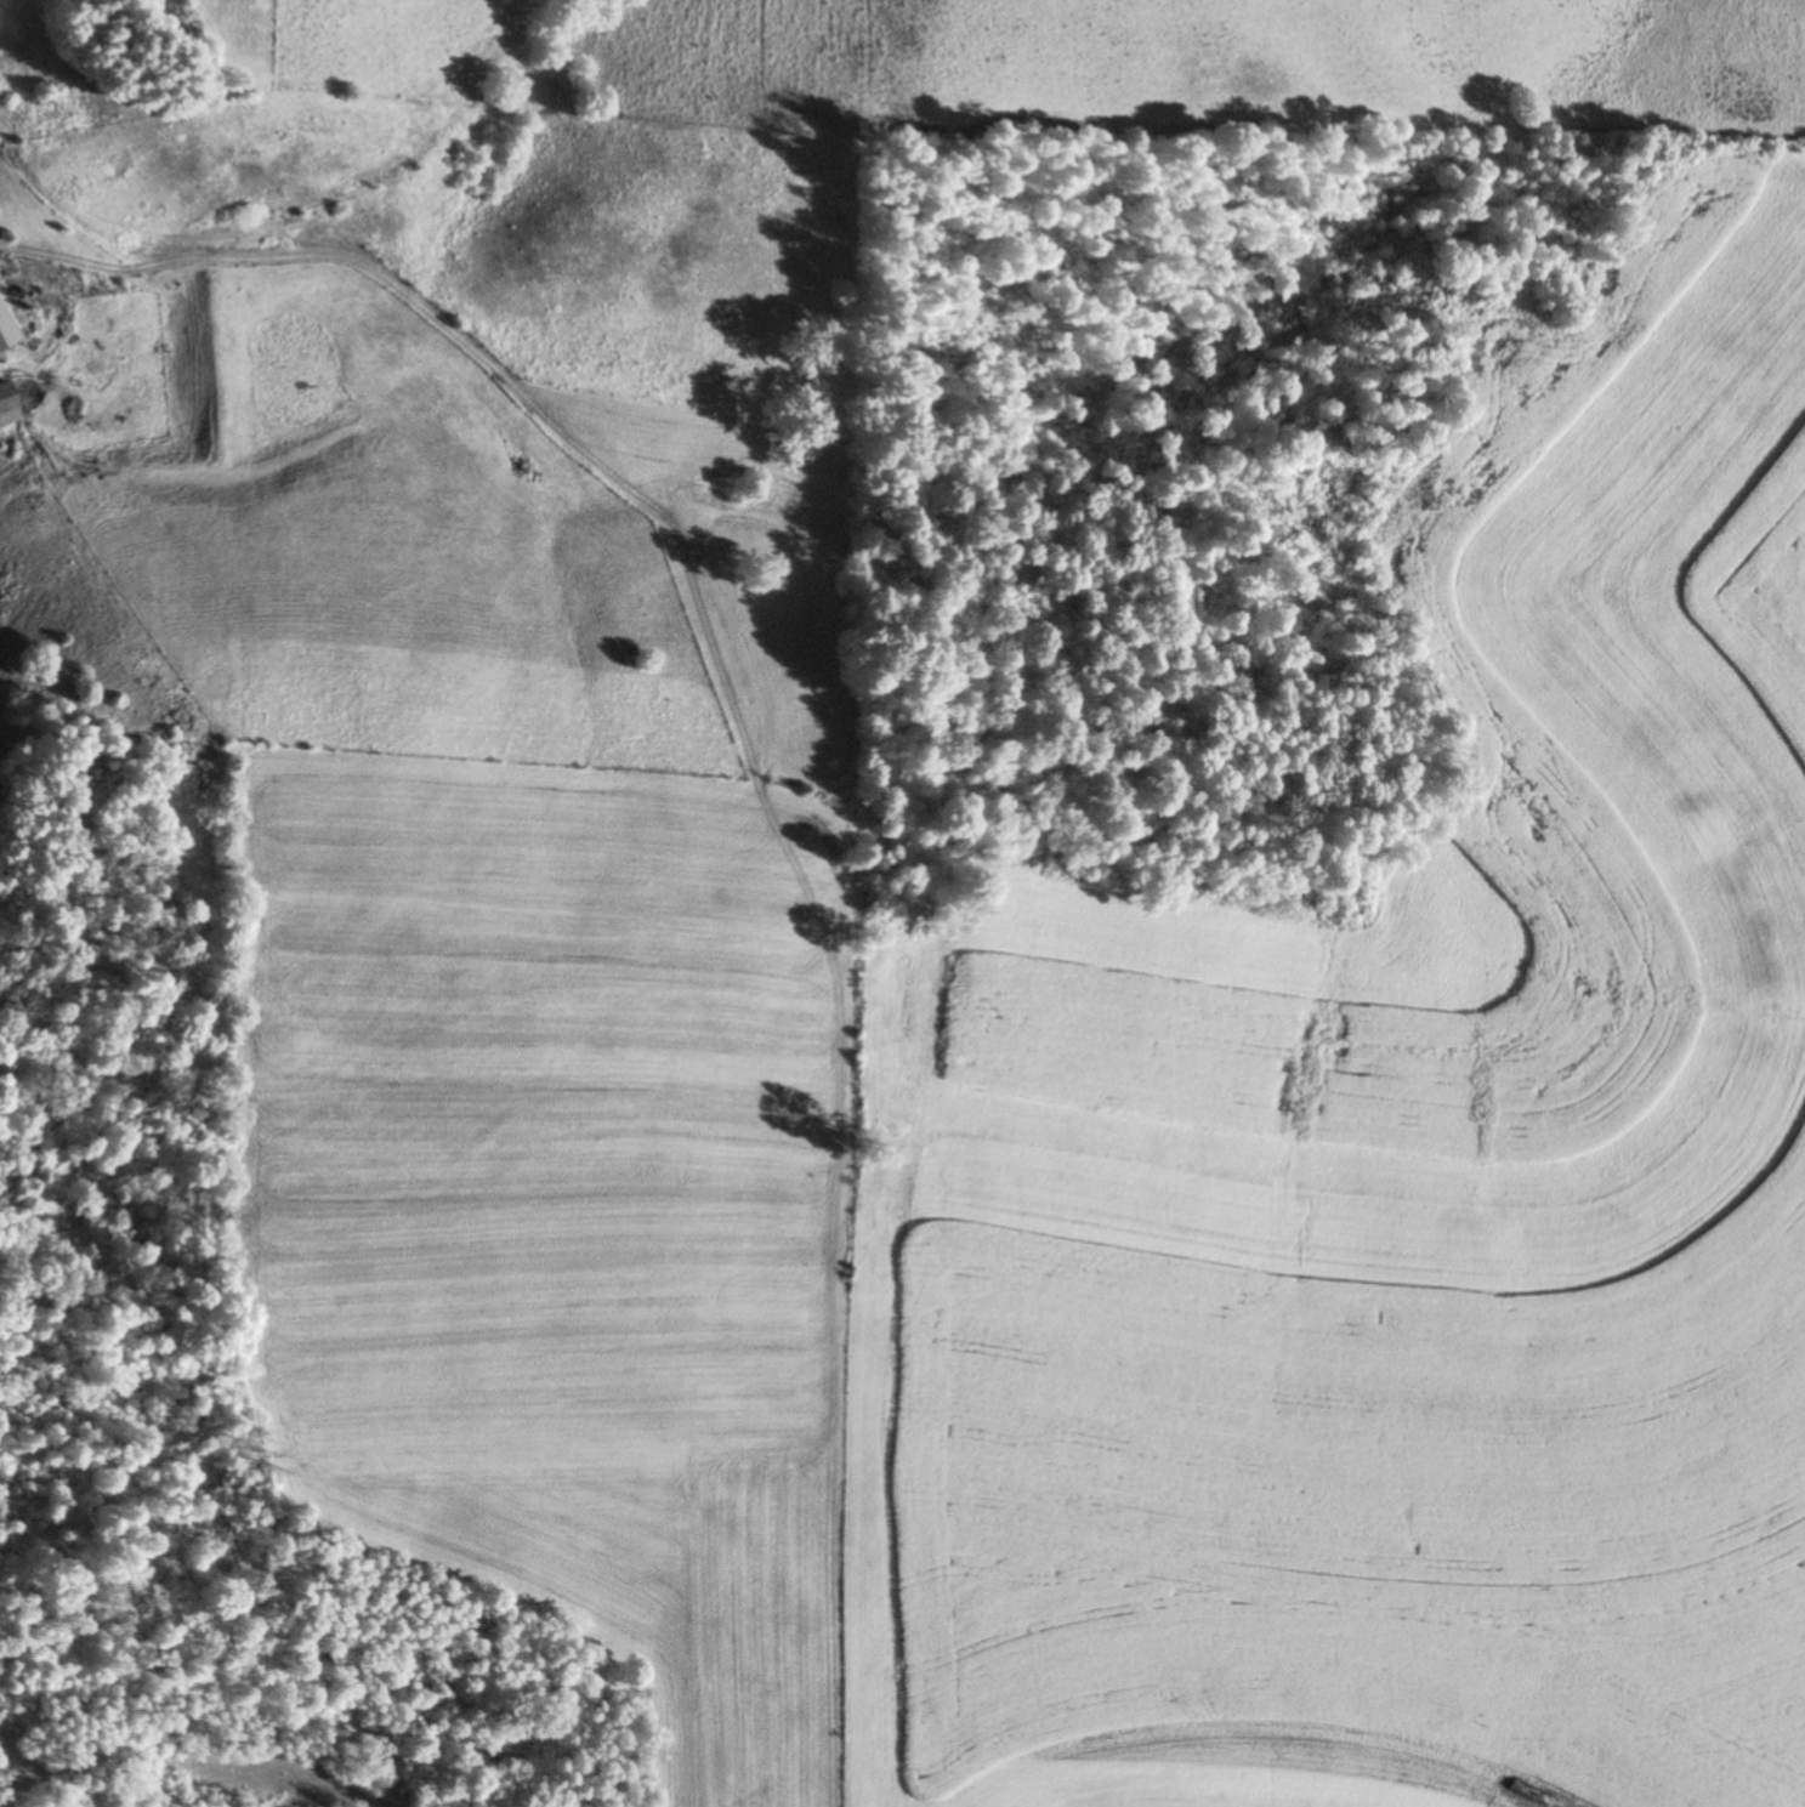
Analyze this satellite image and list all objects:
building: (4, 334)
building: (5, 409)
quarry: (336, 1799)

